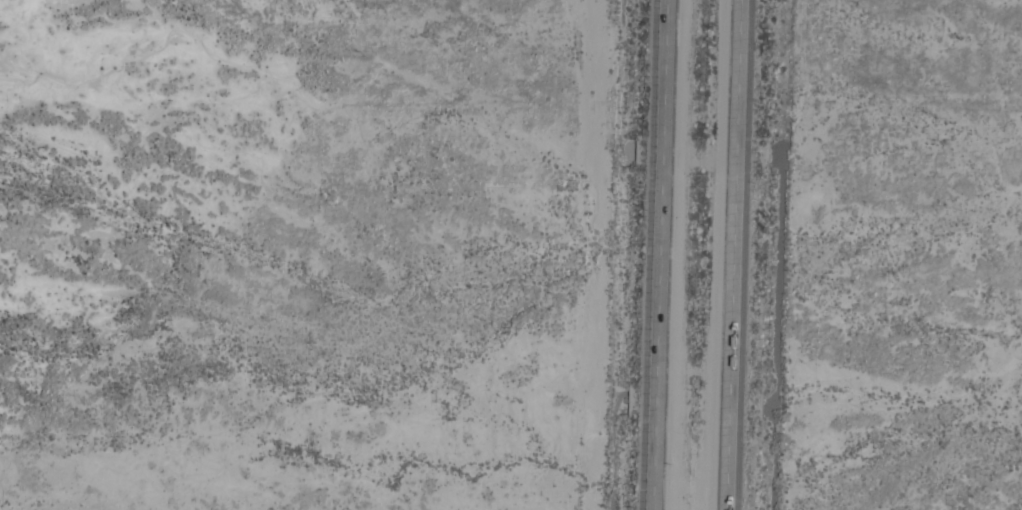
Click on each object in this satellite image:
road: (660, 255)
road: (731, 255)

